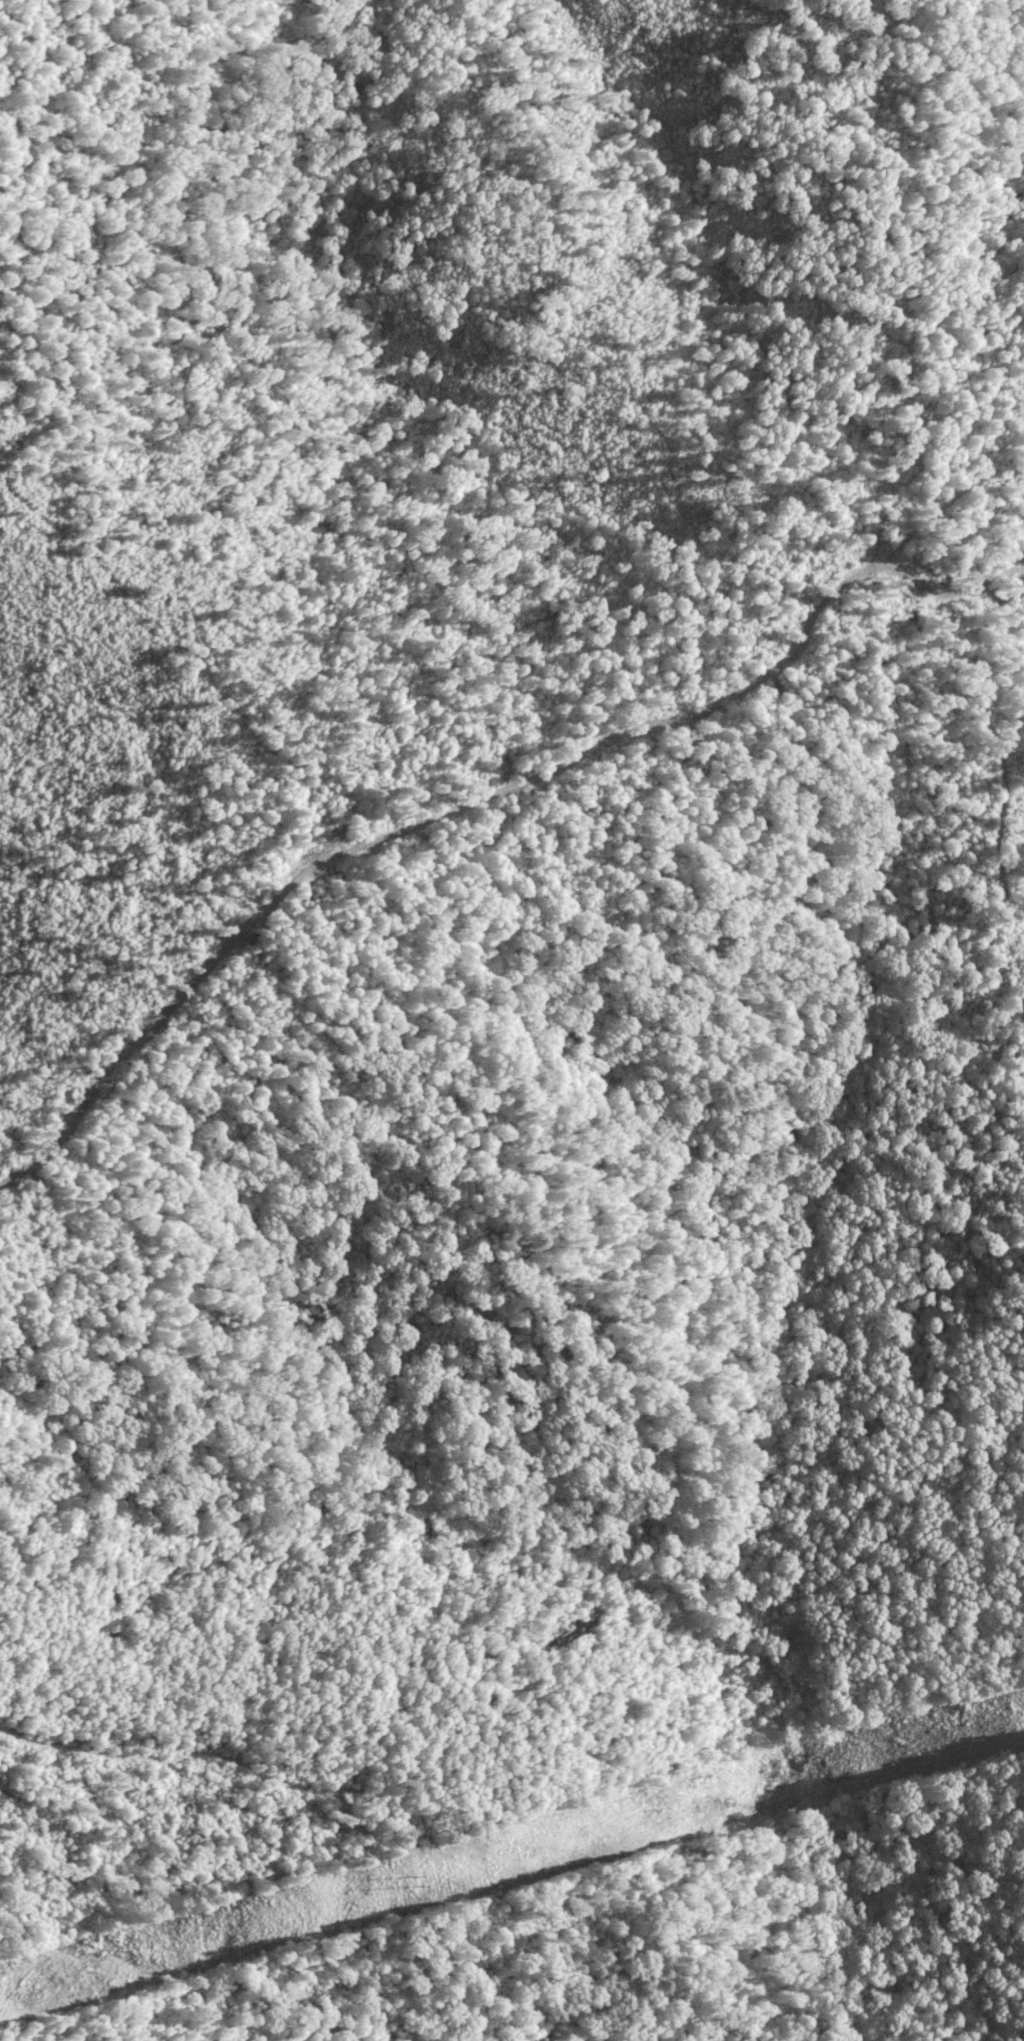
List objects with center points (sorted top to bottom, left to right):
power tower: (415, 1886)

